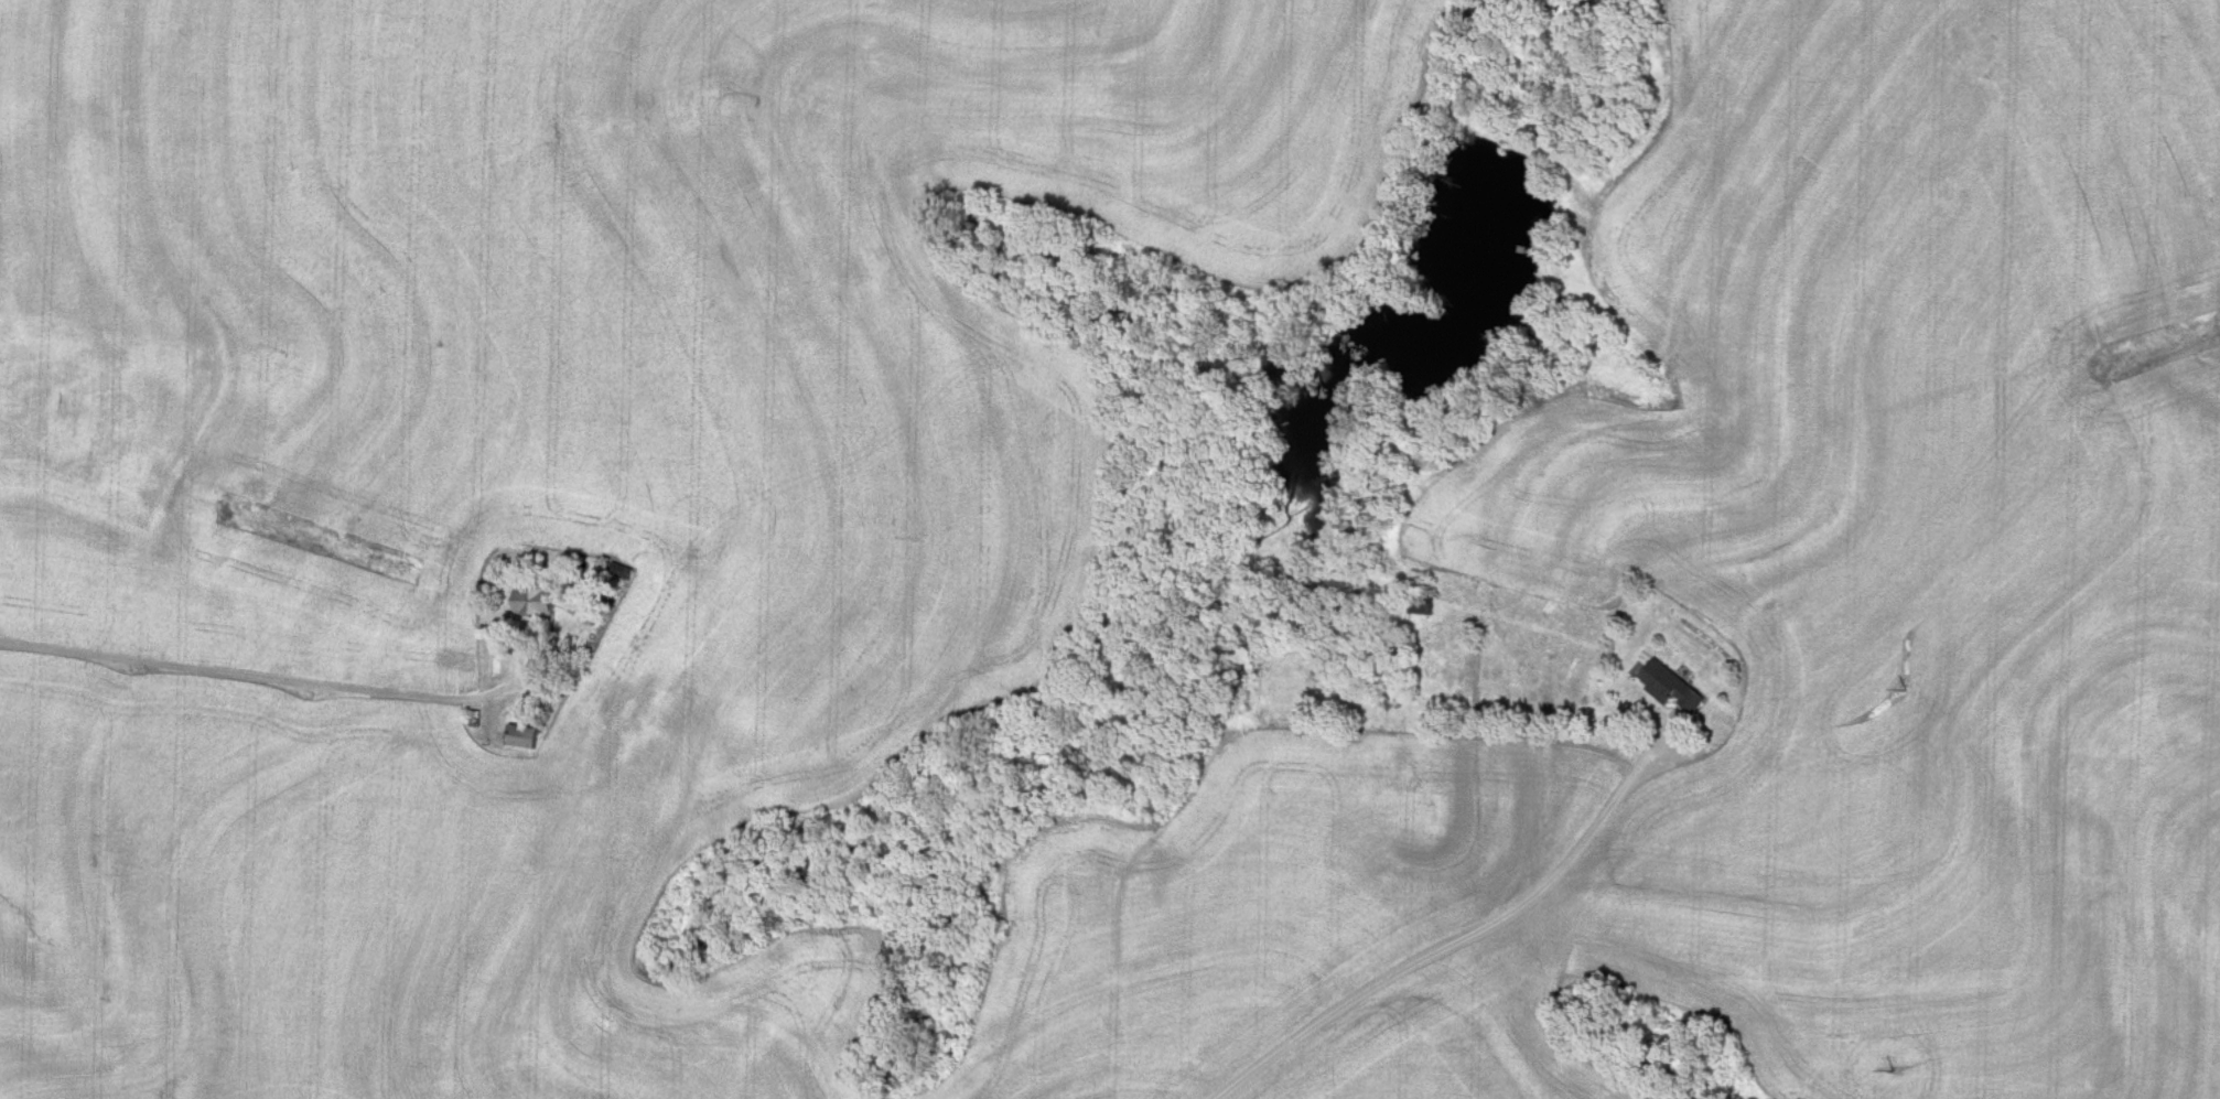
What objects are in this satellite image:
building: (528, 602)
building: (1415, 606)
road: (263, 680)
building: (1664, 686)
building: (581, 728)
building: (517, 736)
road: (1462, 939)

